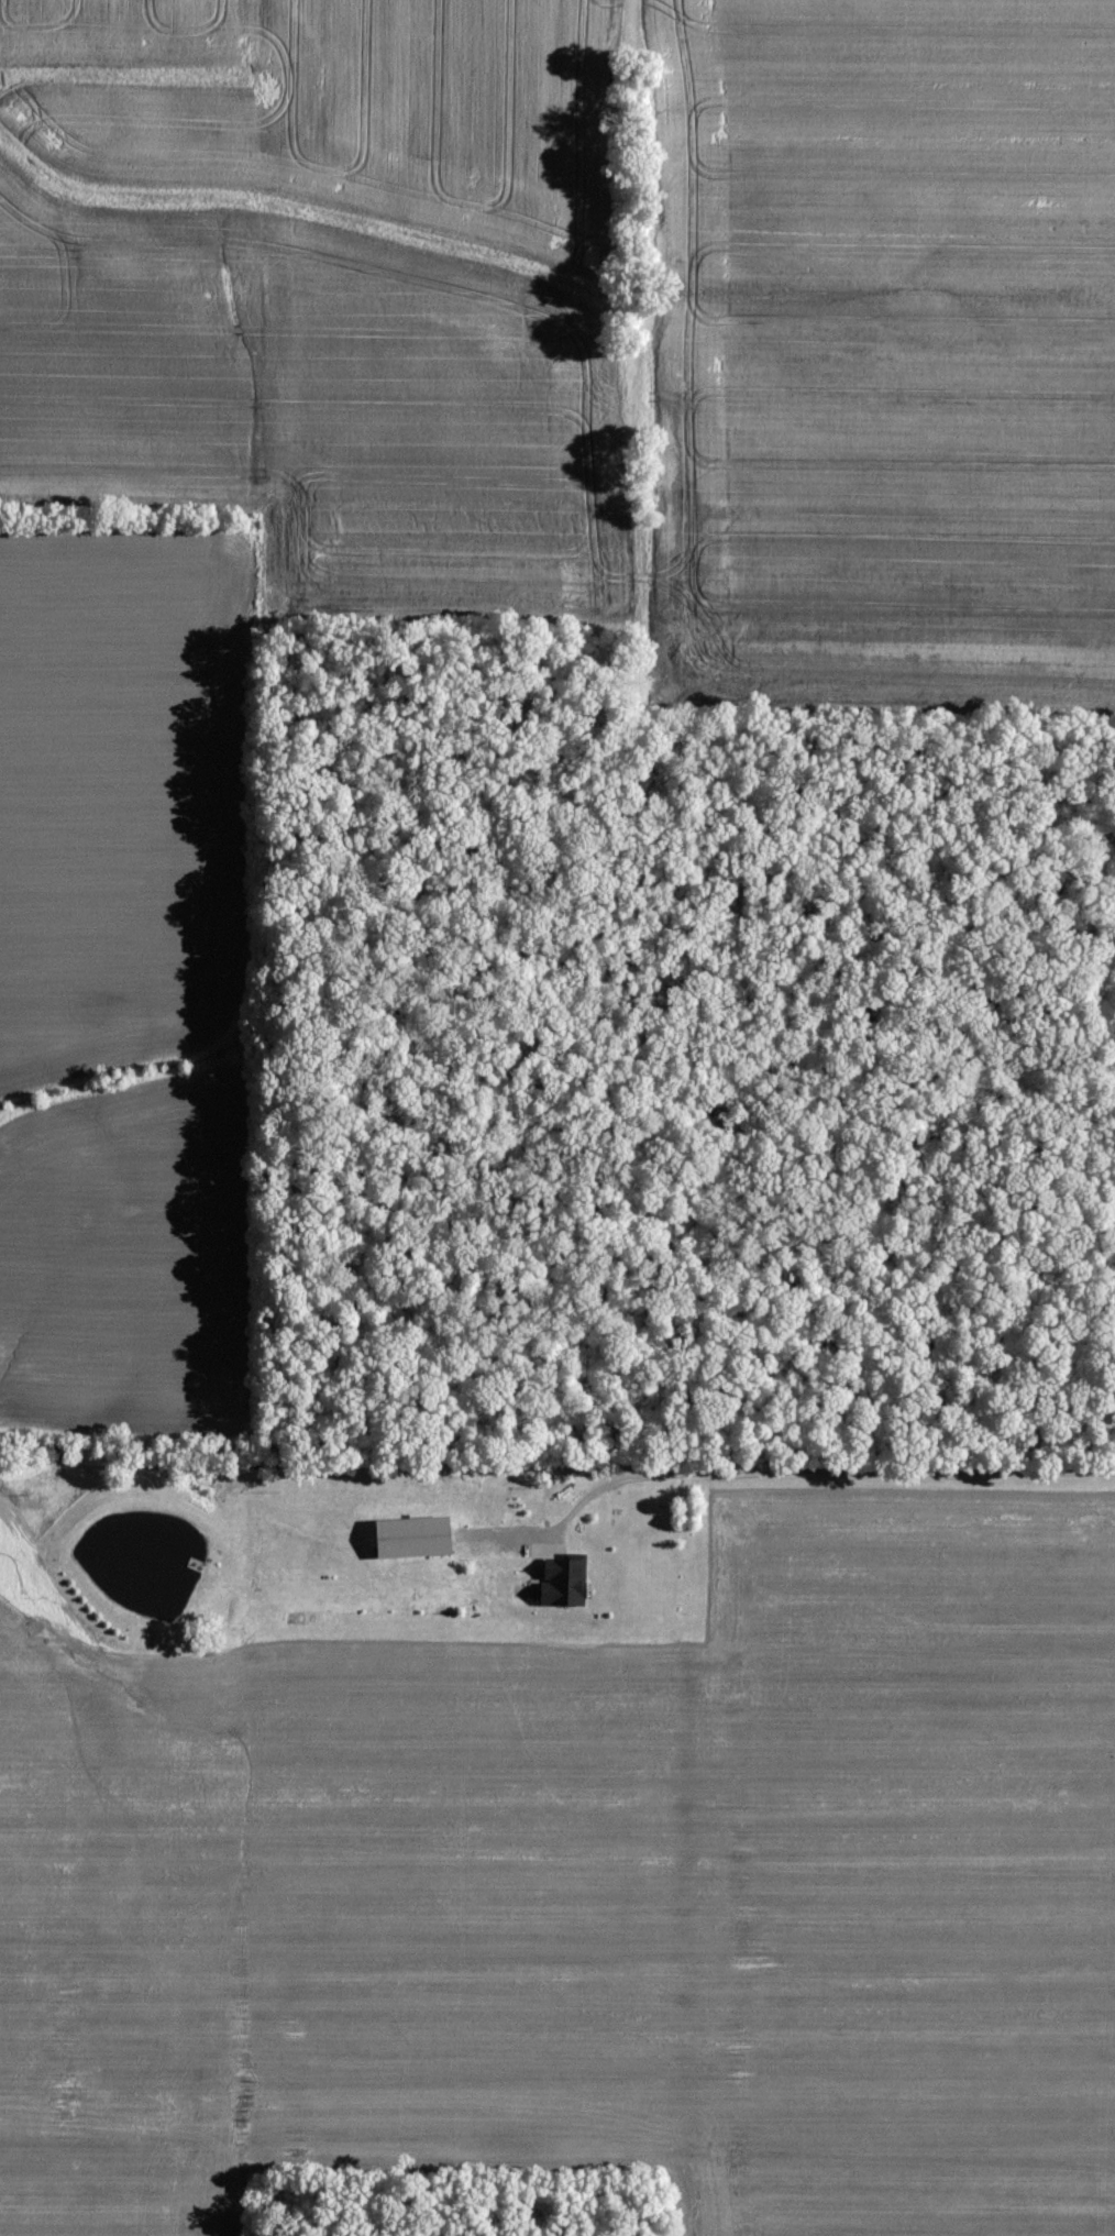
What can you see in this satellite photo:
road: (823, 1468)
building: (419, 1535)
pier: (196, 1564)
building: (568, 1580)

